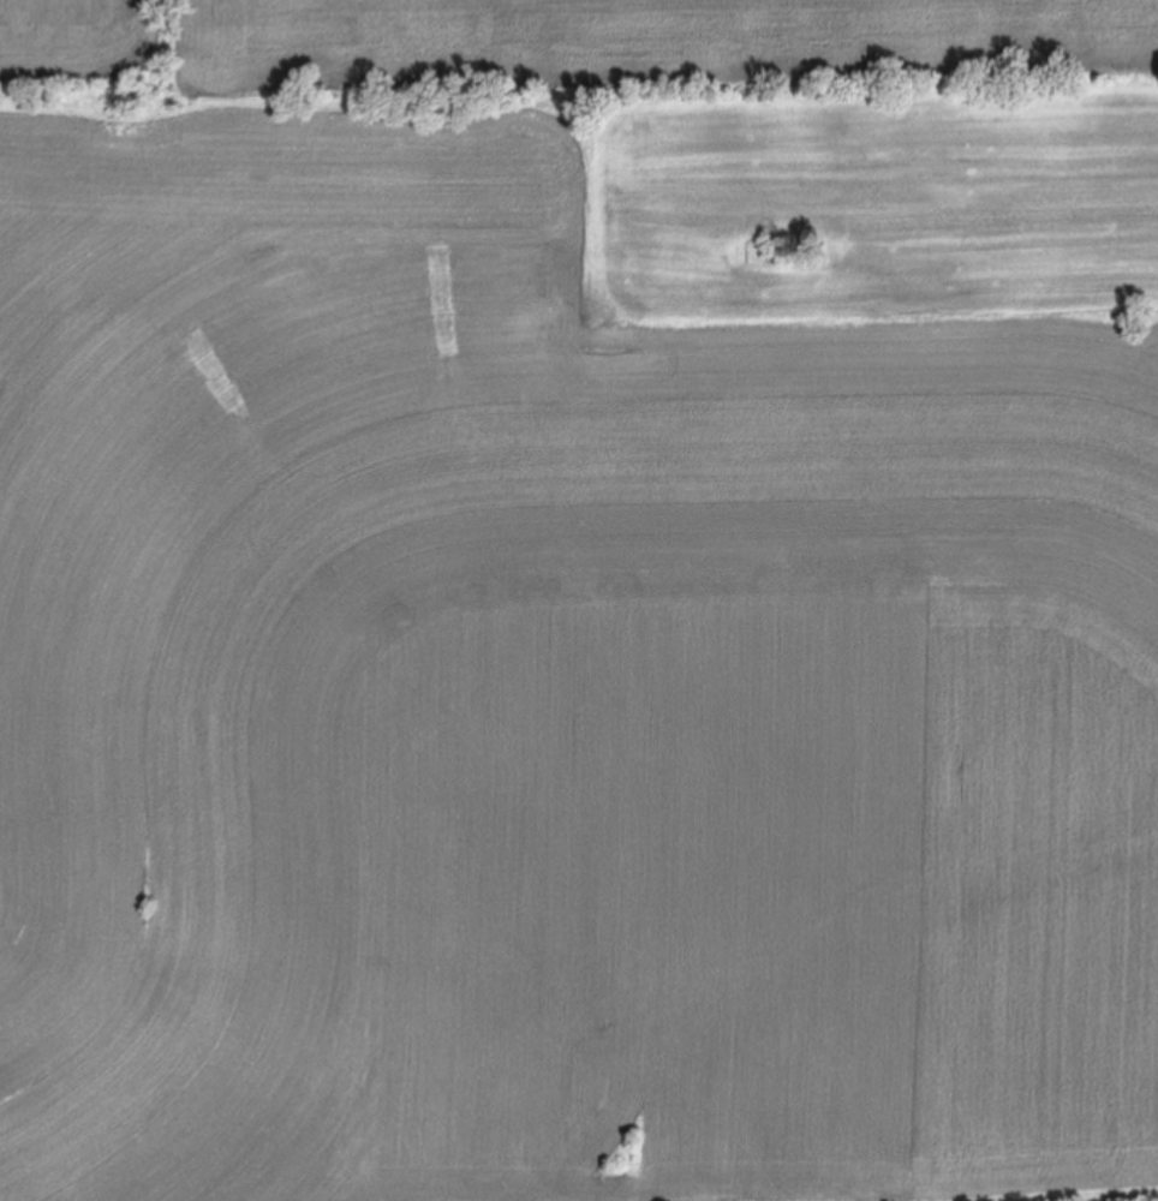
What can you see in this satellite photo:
crop: (579, 600)

